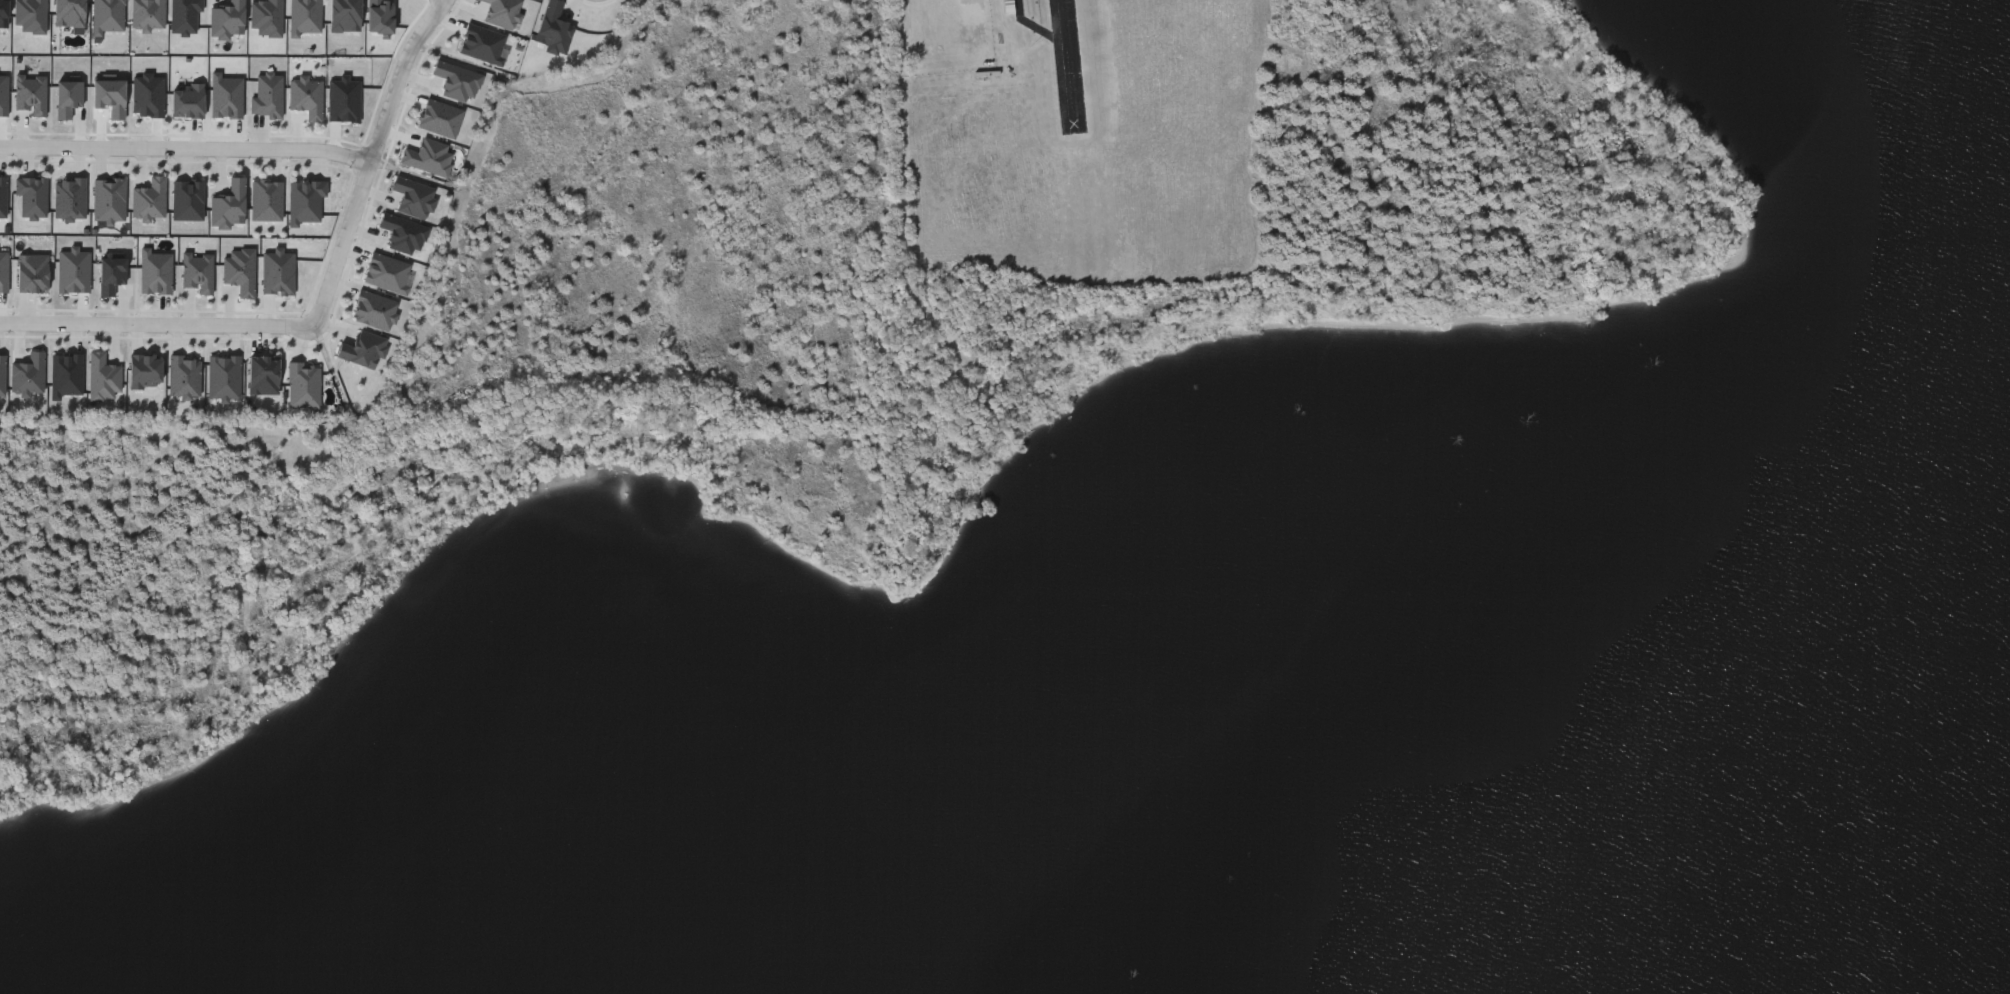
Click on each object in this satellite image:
road: (186, 143)
road: (372, 159)
road: (156, 325)
building: (987, 363)
building: (943, 894)

